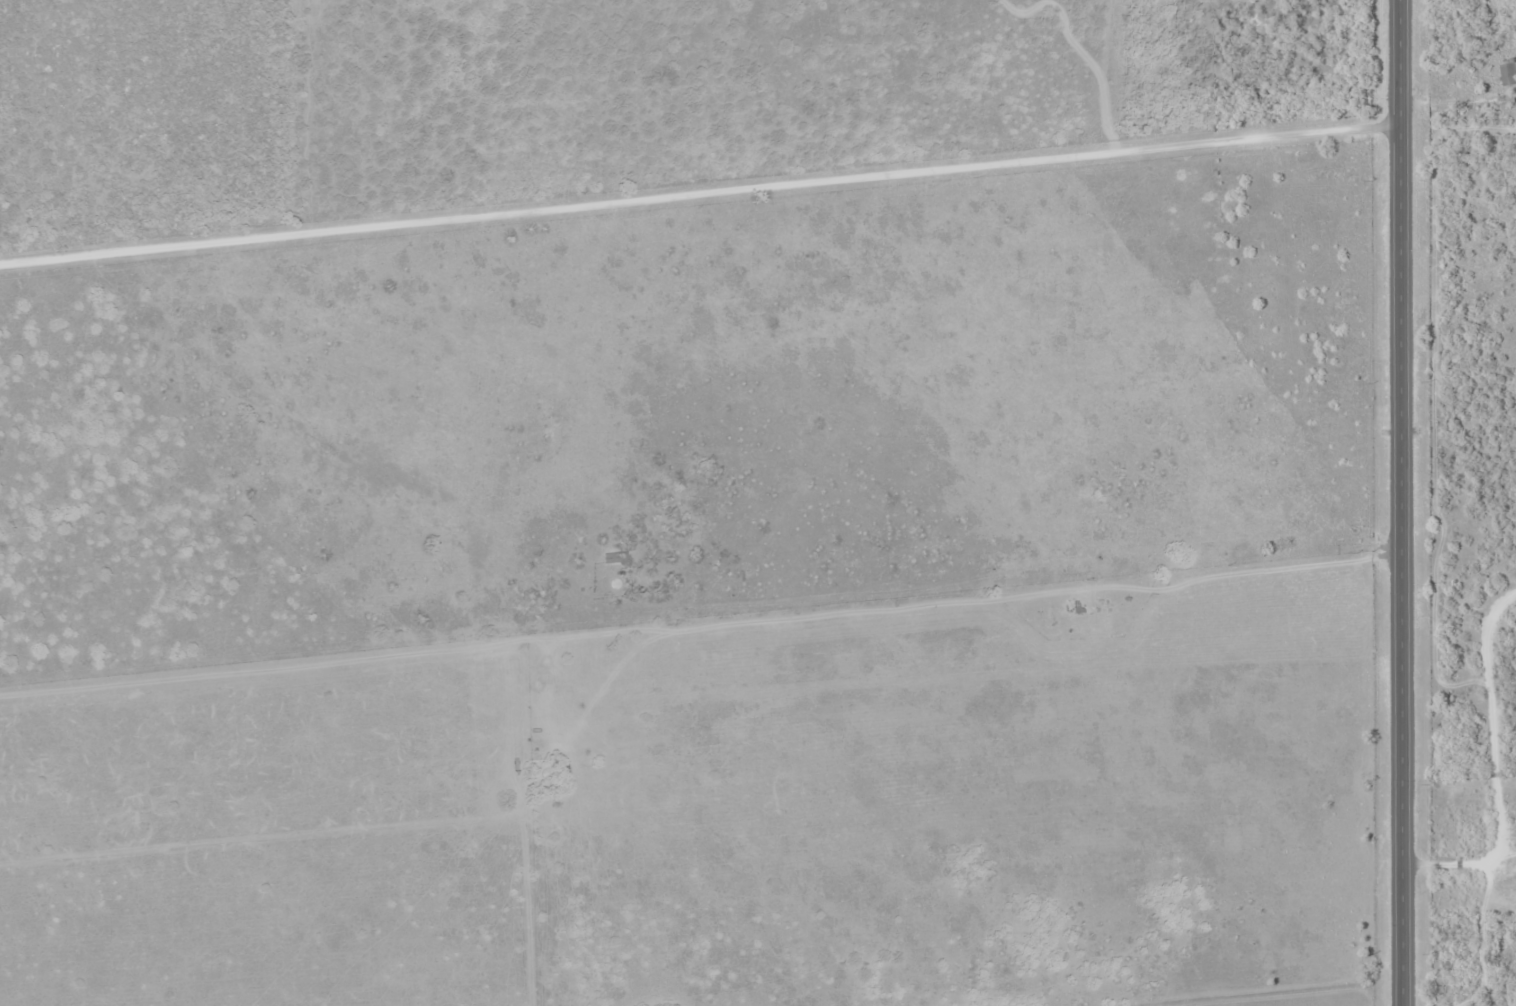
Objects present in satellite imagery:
building: (1508, 72)
road: (698, 168)
road: (1397, 503)
building: (614, 557)

